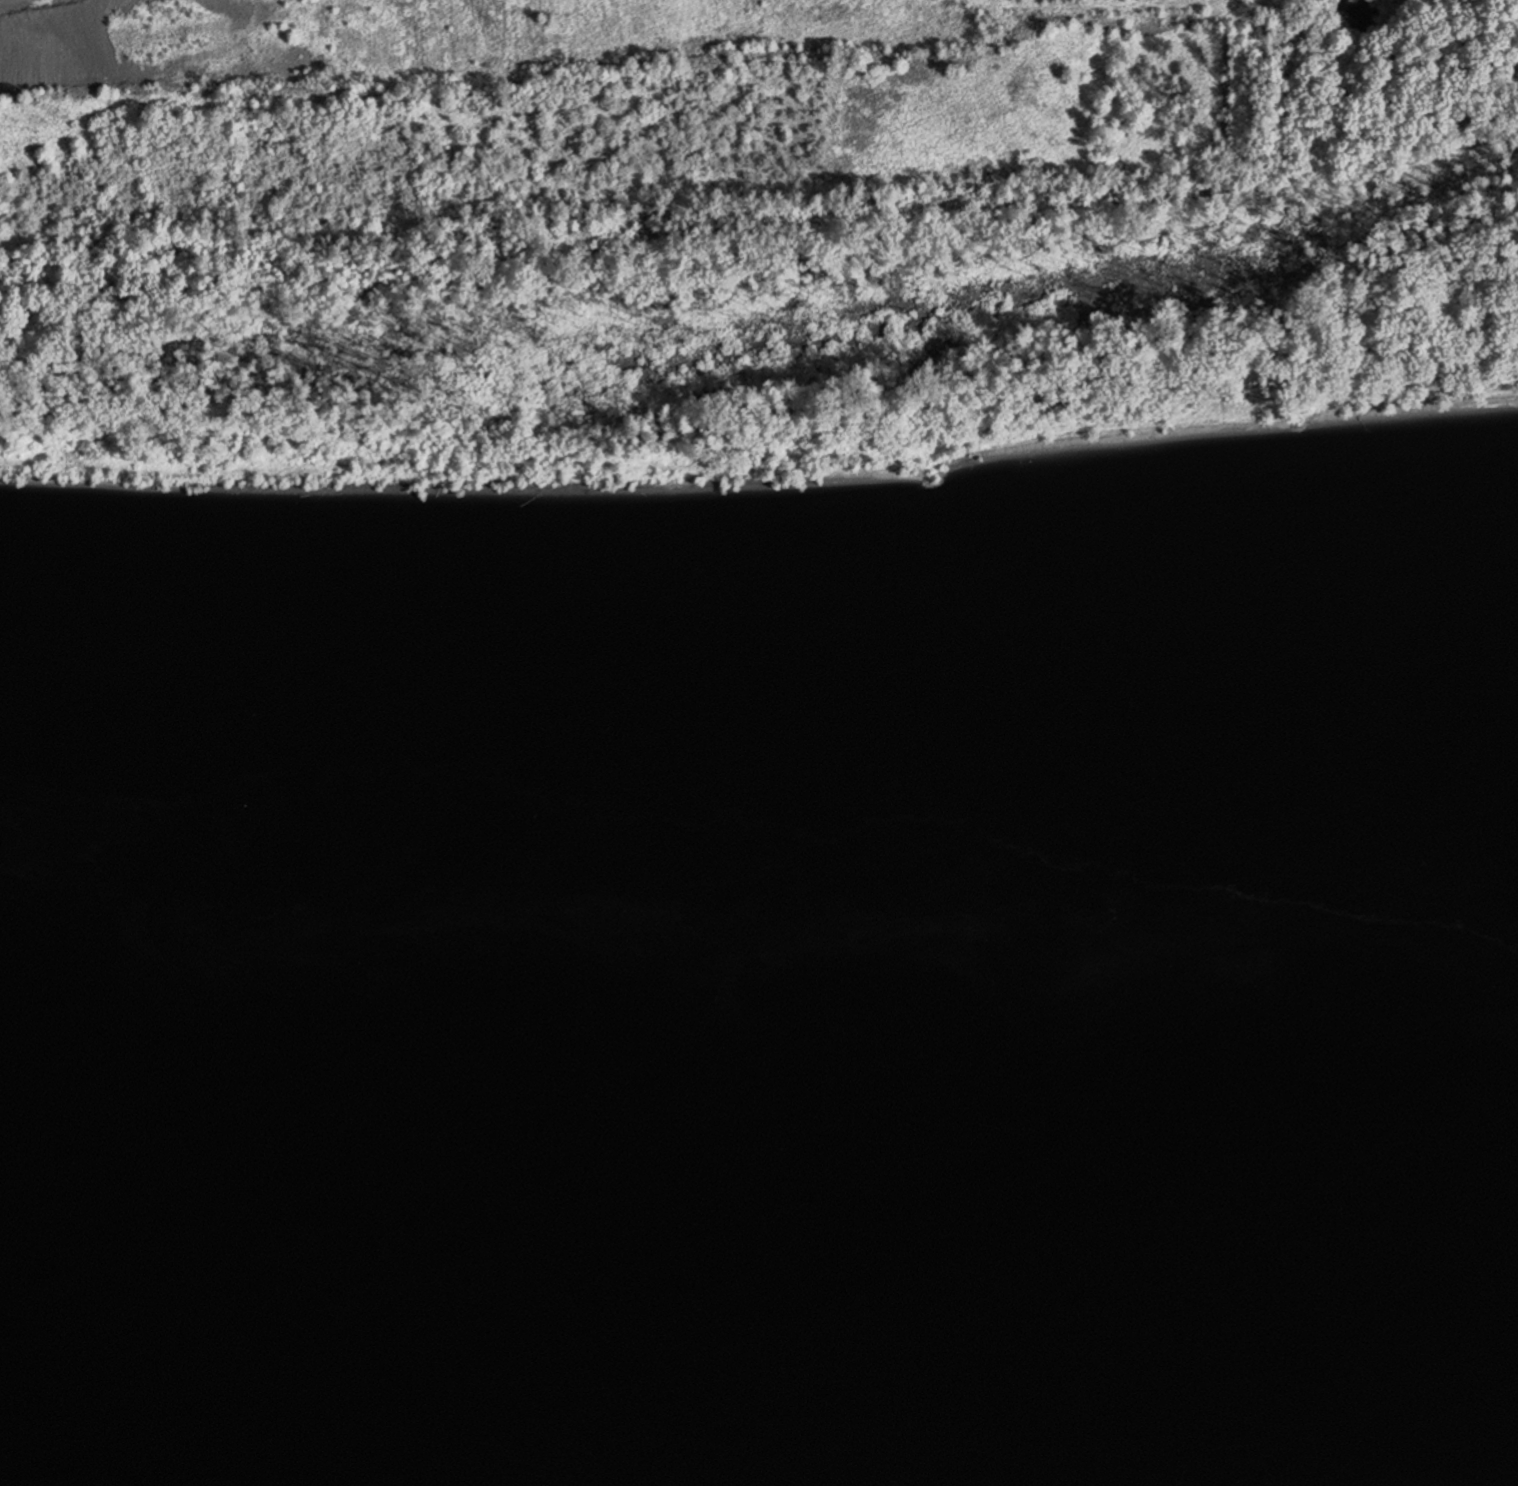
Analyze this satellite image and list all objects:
quarry: (498, 32)
river: (756, 1168)

